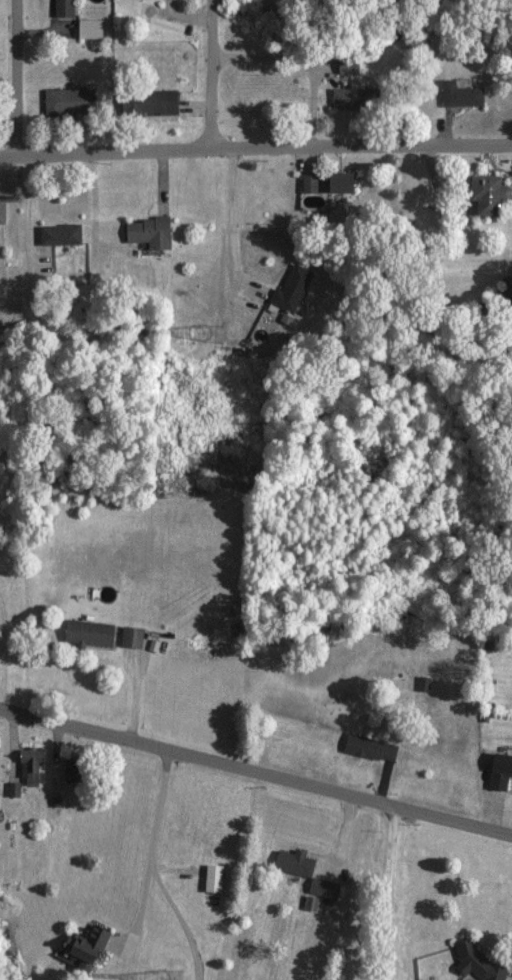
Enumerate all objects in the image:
building: (66, 7)
building: (92, 27)
building: (350, 65)
road: (213, 74)
road: (15, 76)
building: (462, 93)
building: (347, 95)
building: (69, 100)
building: (151, 101)
road: (255, 146)
building: (344, 181)
building: (311, 182)
building: (490, 192)
road: (29, 207)
building: (2, 209)
road: (232, 215)
building: (151, 231)
building: (62, 233)
power tower: (219, 334)
building: (91, 632)
building: (132, 636)
building: (372, 747)
road: (466, 747)
road: (256, 762)
building: (32, 765)
building: (73, 770)
building: (501, 771)
road: (153, 865)
building: (300, 866)
building: (215, 878)
road: (386, 886)
road: (140, 905)
building: (89, 946)
building: (481, 963)
power tower: (177, 979)

